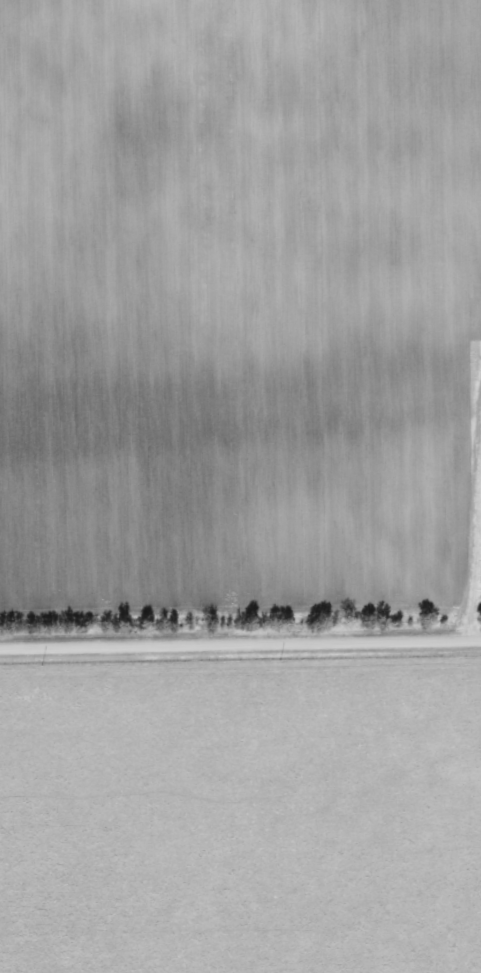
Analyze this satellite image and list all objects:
road: (240, 643)

